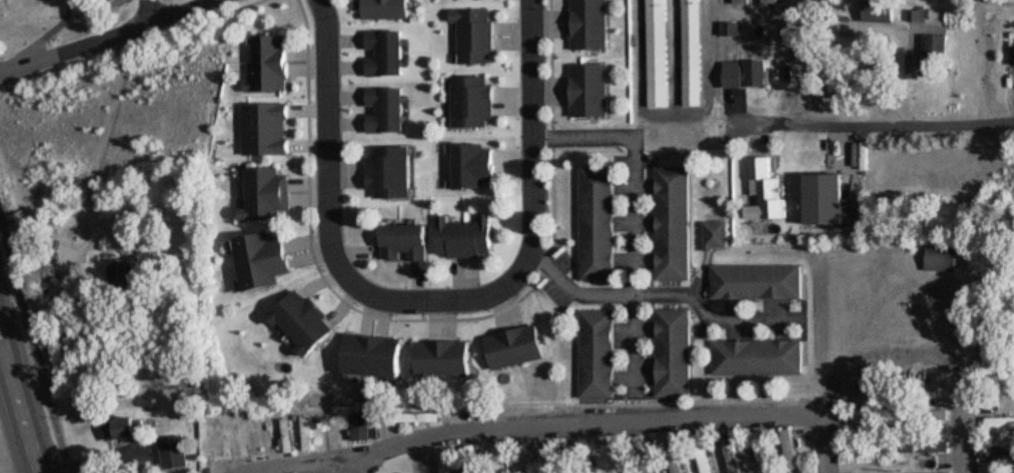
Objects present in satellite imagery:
building: (738, 2)
building: (766, 2)
building: (653, 5)
road: (144, 10)
building: (385, 10)
building: (876, 11)
building: (913, 14)
building: (587, 24)
building: (727, 30)
building: (473, 34)
road: (102, 36)
building: (383, 53)
building: (923, 54)
building: (1011, 55)
building: (691, 56)
building: (268, 64)
building: (656, 65)
building: (743, 74)
building: (588, 90)
building: (471, 101)
building: (385, 110)
road: (877, 123)
building: (265, 129)
building: (474, 165)
building: (389, 172)
building: (763, 191)
building: (266, 194)
road: (77, 223)
building: (672, 223)
building: (597, 224)
road: (633, 226)
building: (715, 236)
building: (465, 239)
building: (405, 243)
building: (940, 260)
building: (263, 261)
building: (120, 273)
building: (753, 282)
road: (659, 295)
road: (428, 302)
building: (304, 322)
building: (515, 348)
road: (33, 352)
building: (672, 353)
building: (597, 355)
building: (754, 357)
building: (374, 358)
building: (444, 359)
road: (27, 385)
building: (418, 417)
building: (360, 426)
road: (540, 426)
building: (125, 429)
building: (857, 429)
building: (293, 430)
road: (12, 434)
building: (249, 439)
road: (961, 441)
road: (818, 444)
building: (932, 446)
building: (612, 447)
building: (759, 450)
building: (788, 451)
building: (729, 452)
building: (174, 453)
building: (556, 453)
building: (700, 453)
building: (672, 454)
building: (996, 454)
building: (586, 455)
building: (528, 457)
building: (472, 459)
building: (500, 459)
building: (859, 459)
building: (444, 460)
building: (414, 462)
road: (353, 464)
building: (985, 467)

